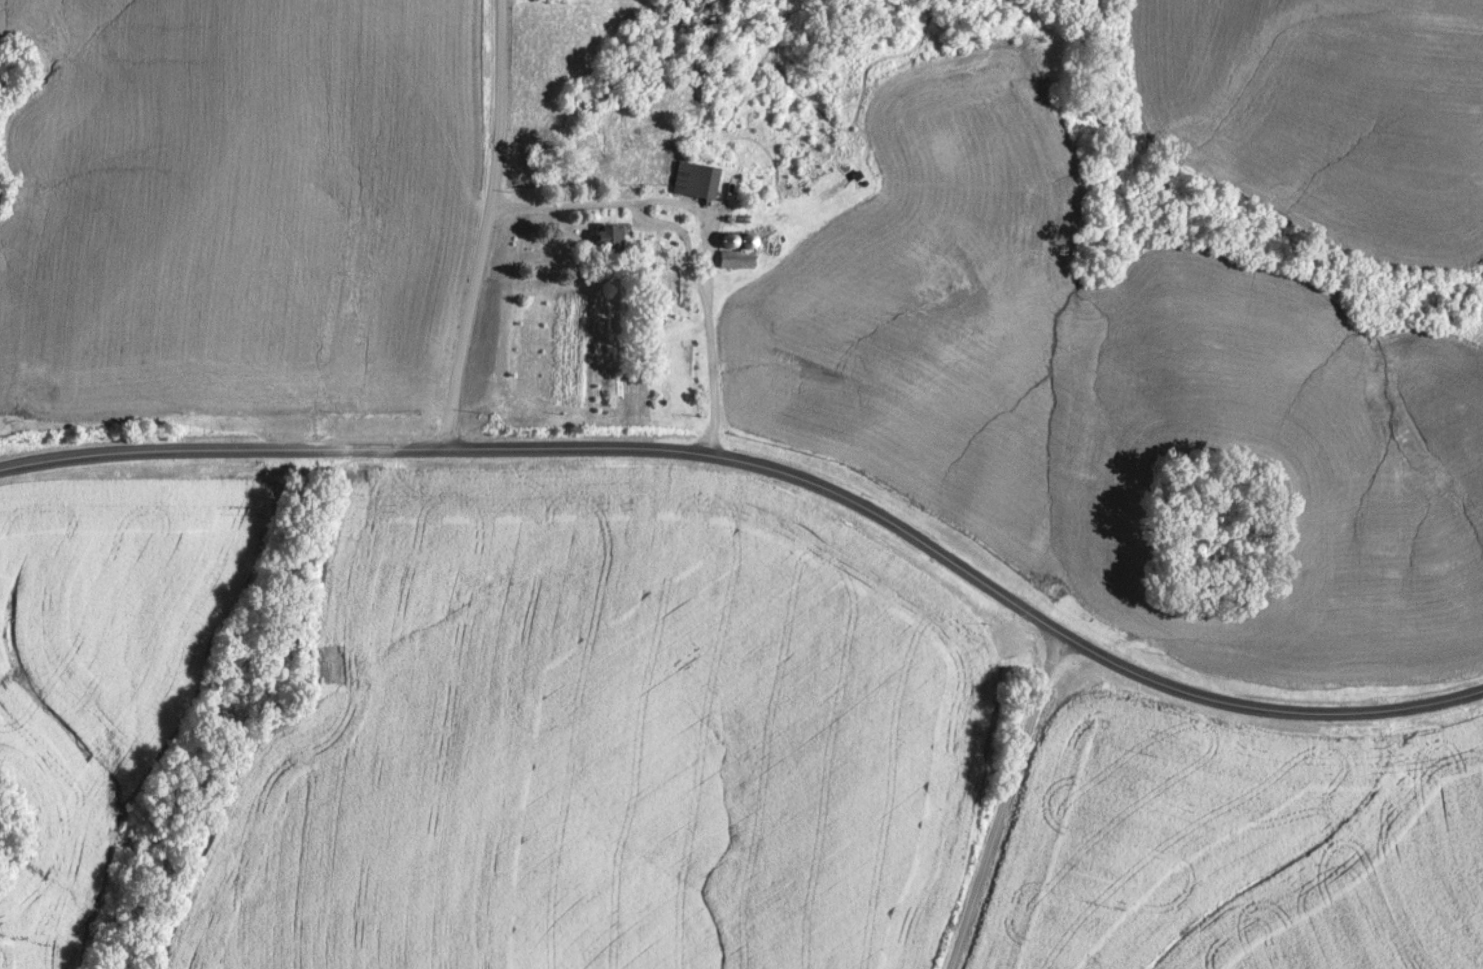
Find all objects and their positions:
building: (702, 181)
road: (713, 225)
road: (486, 226)
building: (618, 238)
building: (742, 259)
building: (683, 378)
road: (771, 470)
park: (1226, 532)
crop: (607, 739)
road: (1005, 800)

